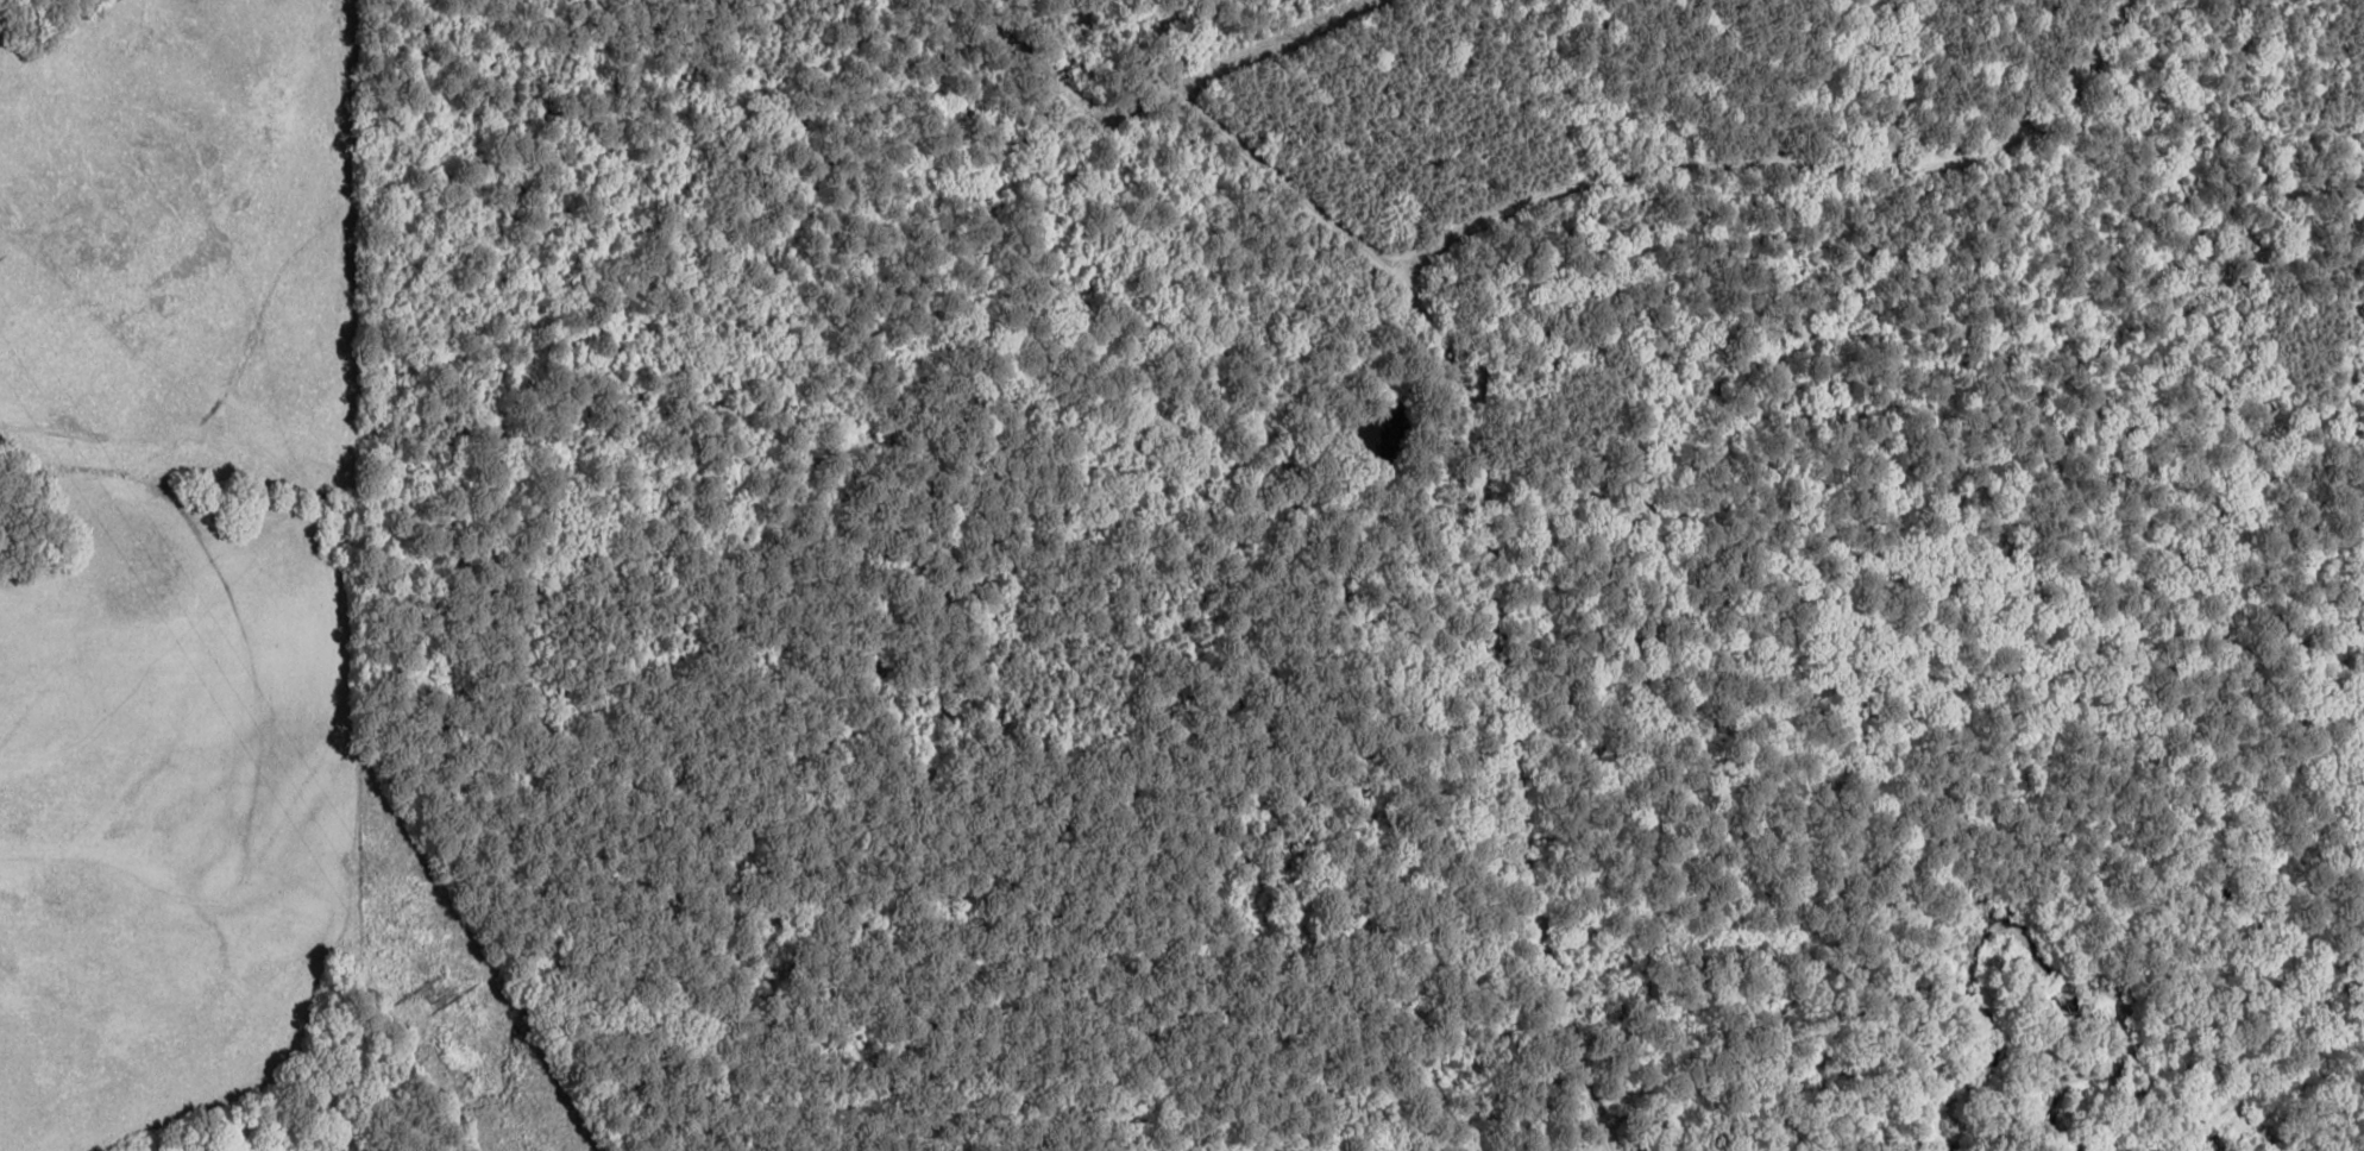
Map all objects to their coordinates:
road: (1645, 222)
road: (1530, 724)
power tower: (434, 1000)

